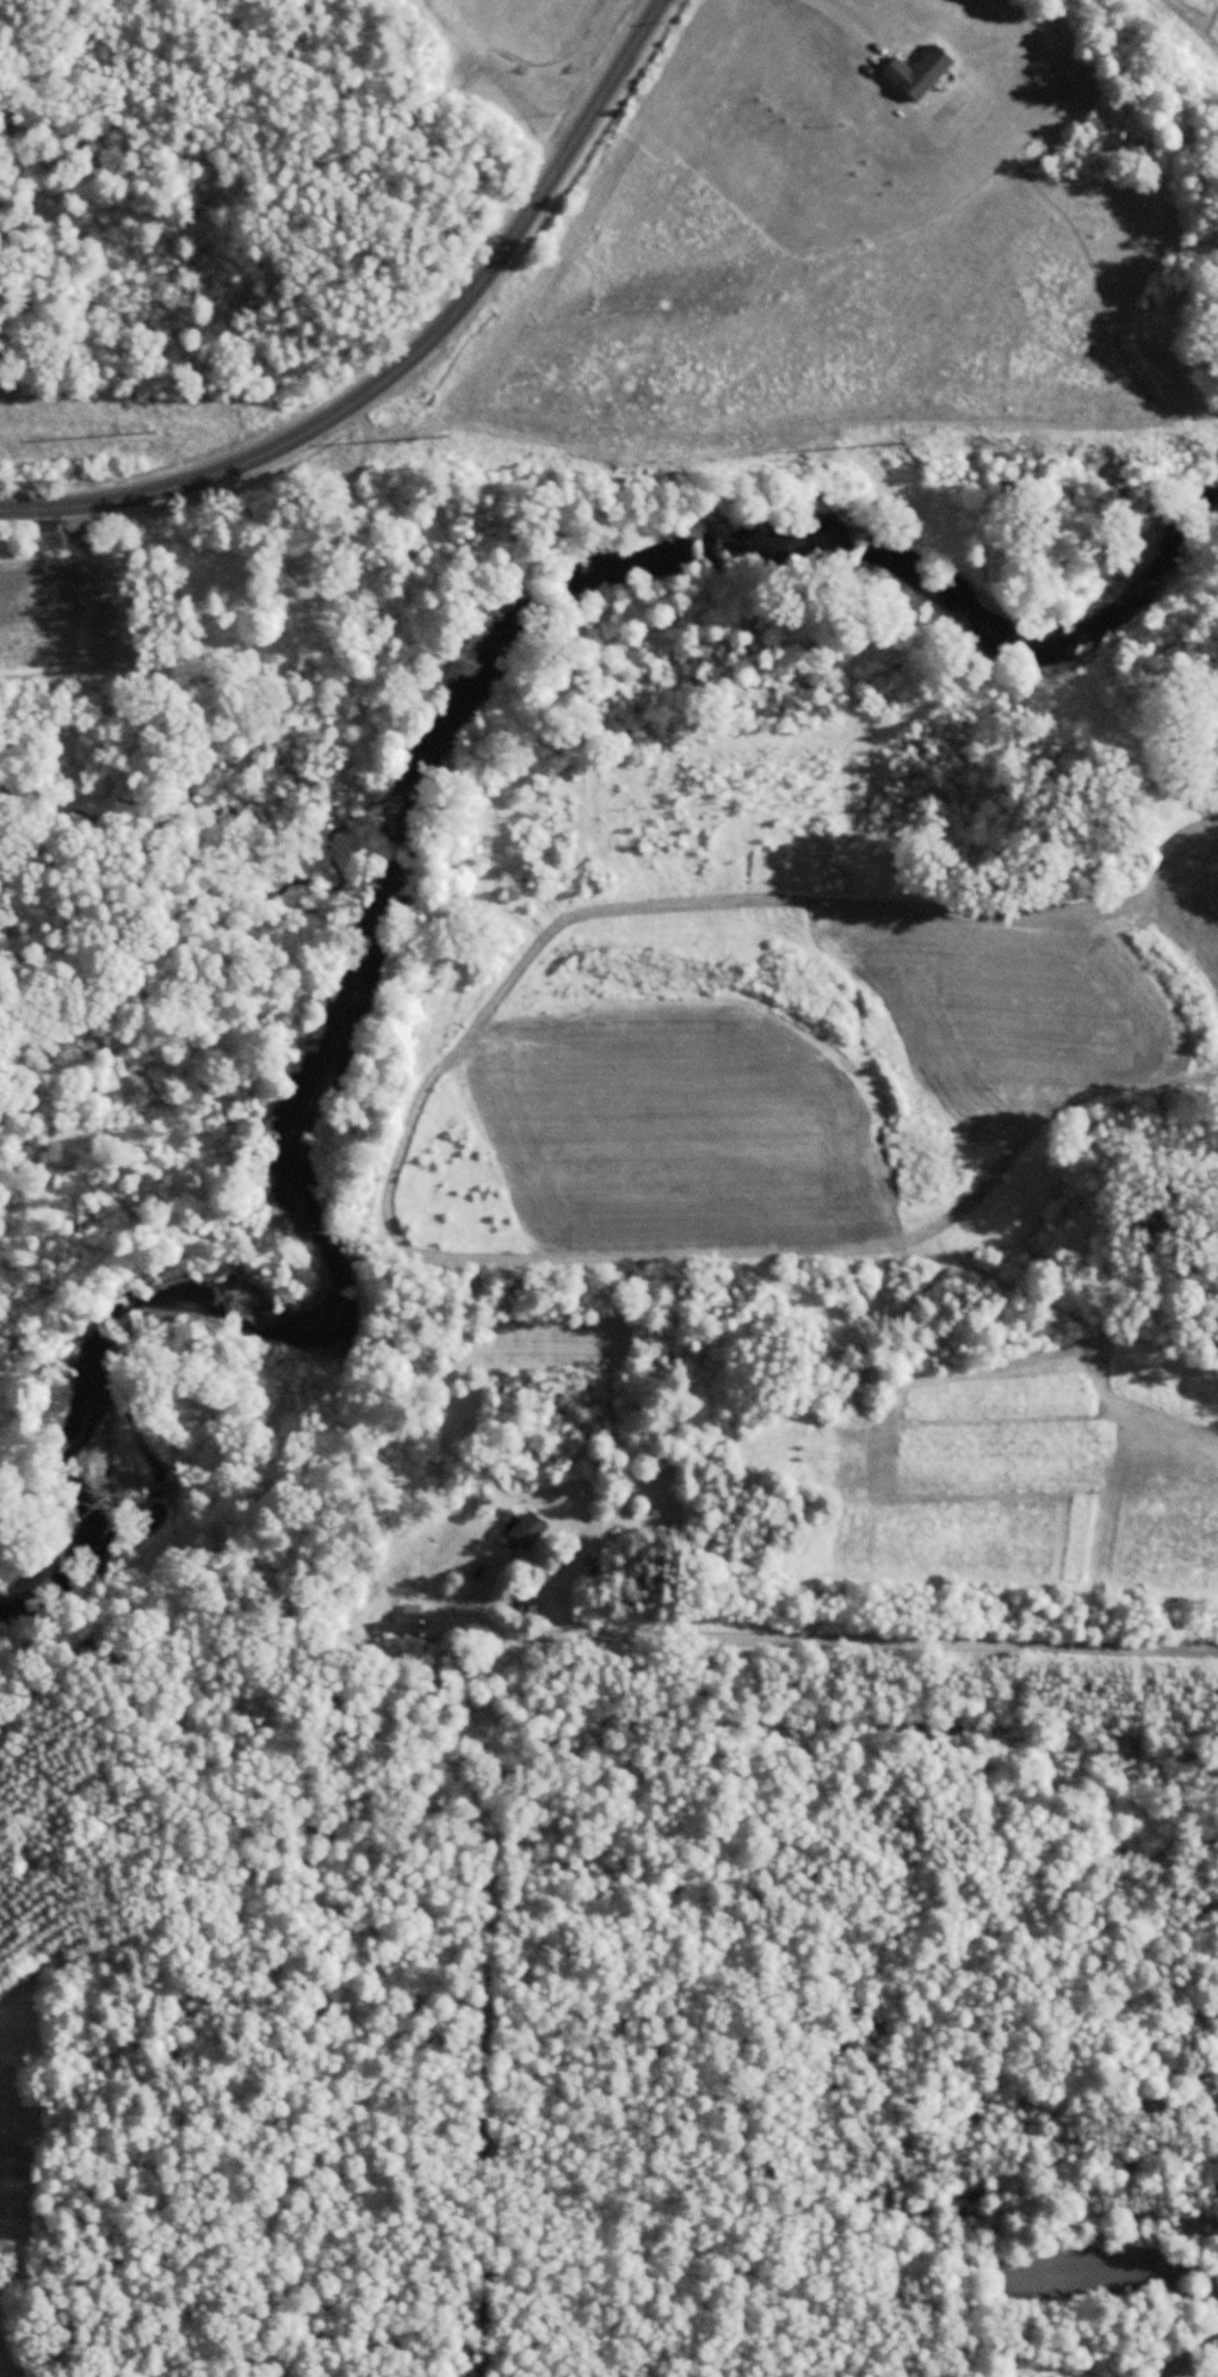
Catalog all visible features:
road: (406, 360)
power tower: (194, 411)
power tower: (435, 426)
power tower: (896, 431)
river: (401, 852)
building: (528, 1531)
building: (403, 1624)
road: (815, 1642)

